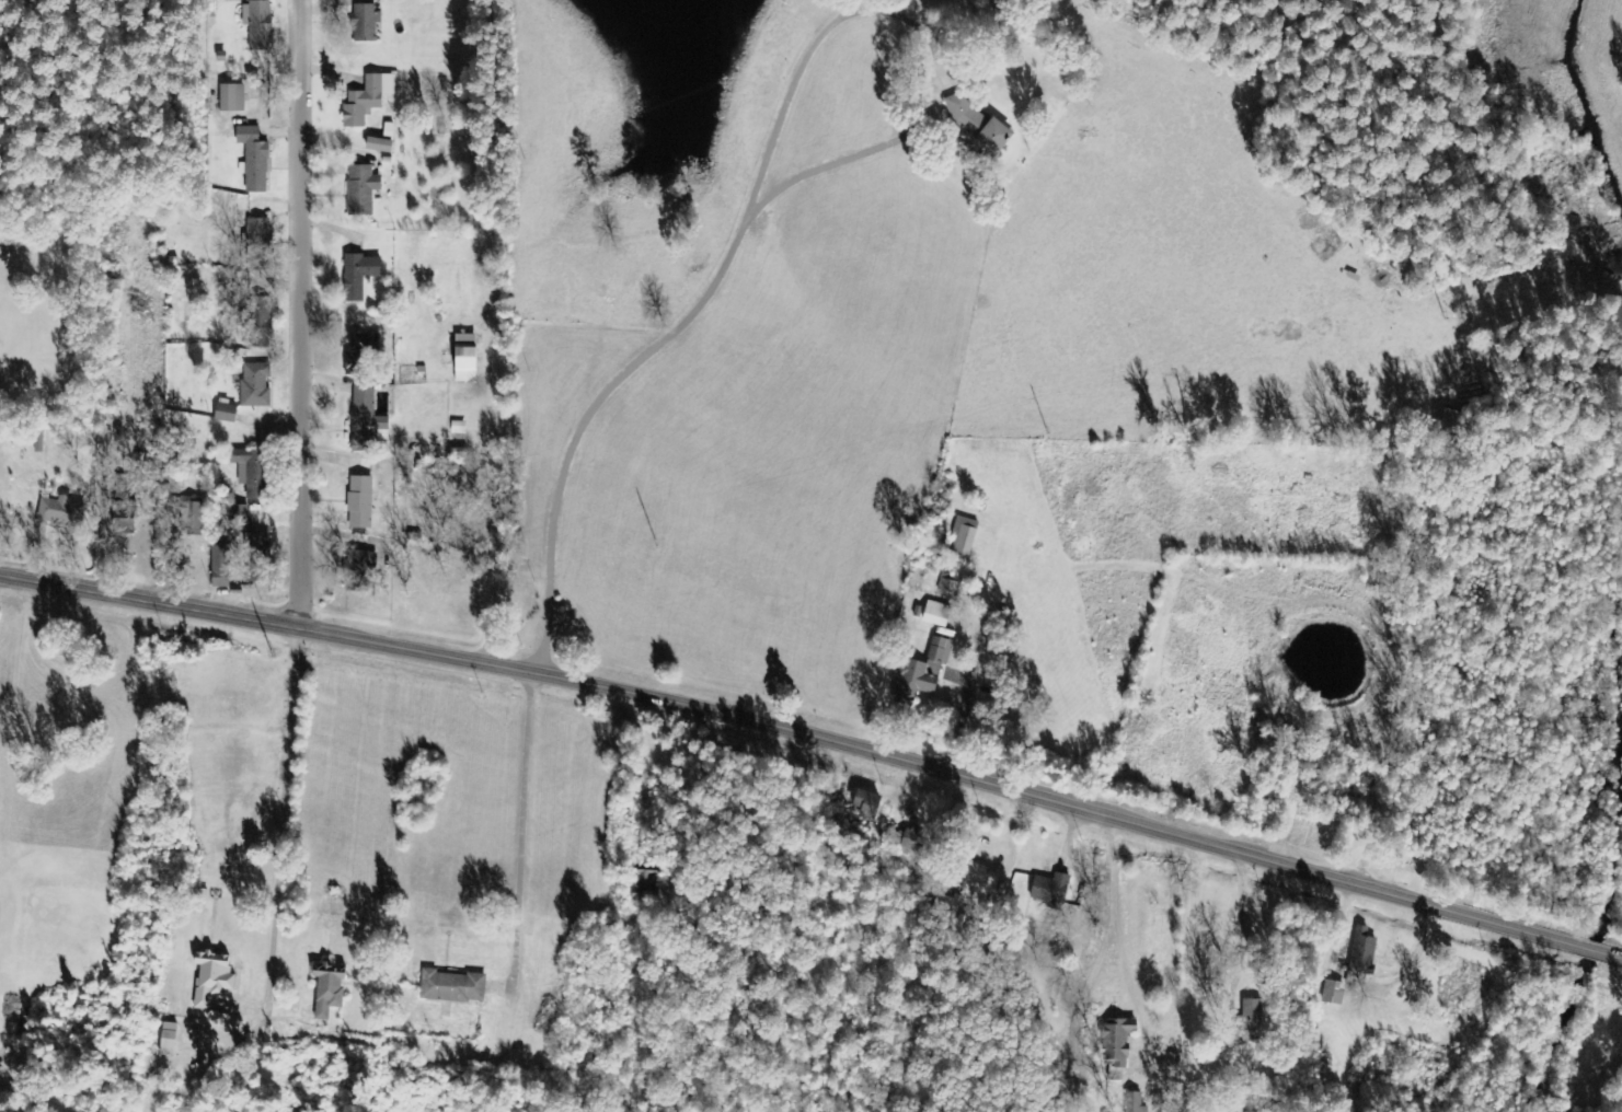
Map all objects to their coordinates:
building: (365, 22)
building: (257, 25)
road: (835, 63)
building: (232, 99)
building: (367, 100)
building: (977, 125)
building: (380, 146)
building: (253, 160)
building: (361, 189)
building: (258, 245)
building: (359, 276)
road: (301, 313)
building: (257, 321)
building: (359, 356)
building: (467, 358)
building: (255, 385)
road: (580, 407)
building: (226, 412)
building: (364, 417)
building: (252, 471)
building: (360, 502)
building: (124, 506)
building: (61, 512)
building: (233, 516)
building: (192, 518)
building: (965, 541)
building: (256, 558)
building: (359, 565)
building: (220, 567)
building: (936, 615)
road: (817, 738)
building: (866, 806)
building: (981, 879)
building: (646, 888)
building: (1050, 890)
building: (945, 904)
road: (416, 910)
building: (212, 978)
building: (452, 987)
building: (329, 989)
building: (1116, 1039)
building: (169, 1040)
building: (1134, 1102)

